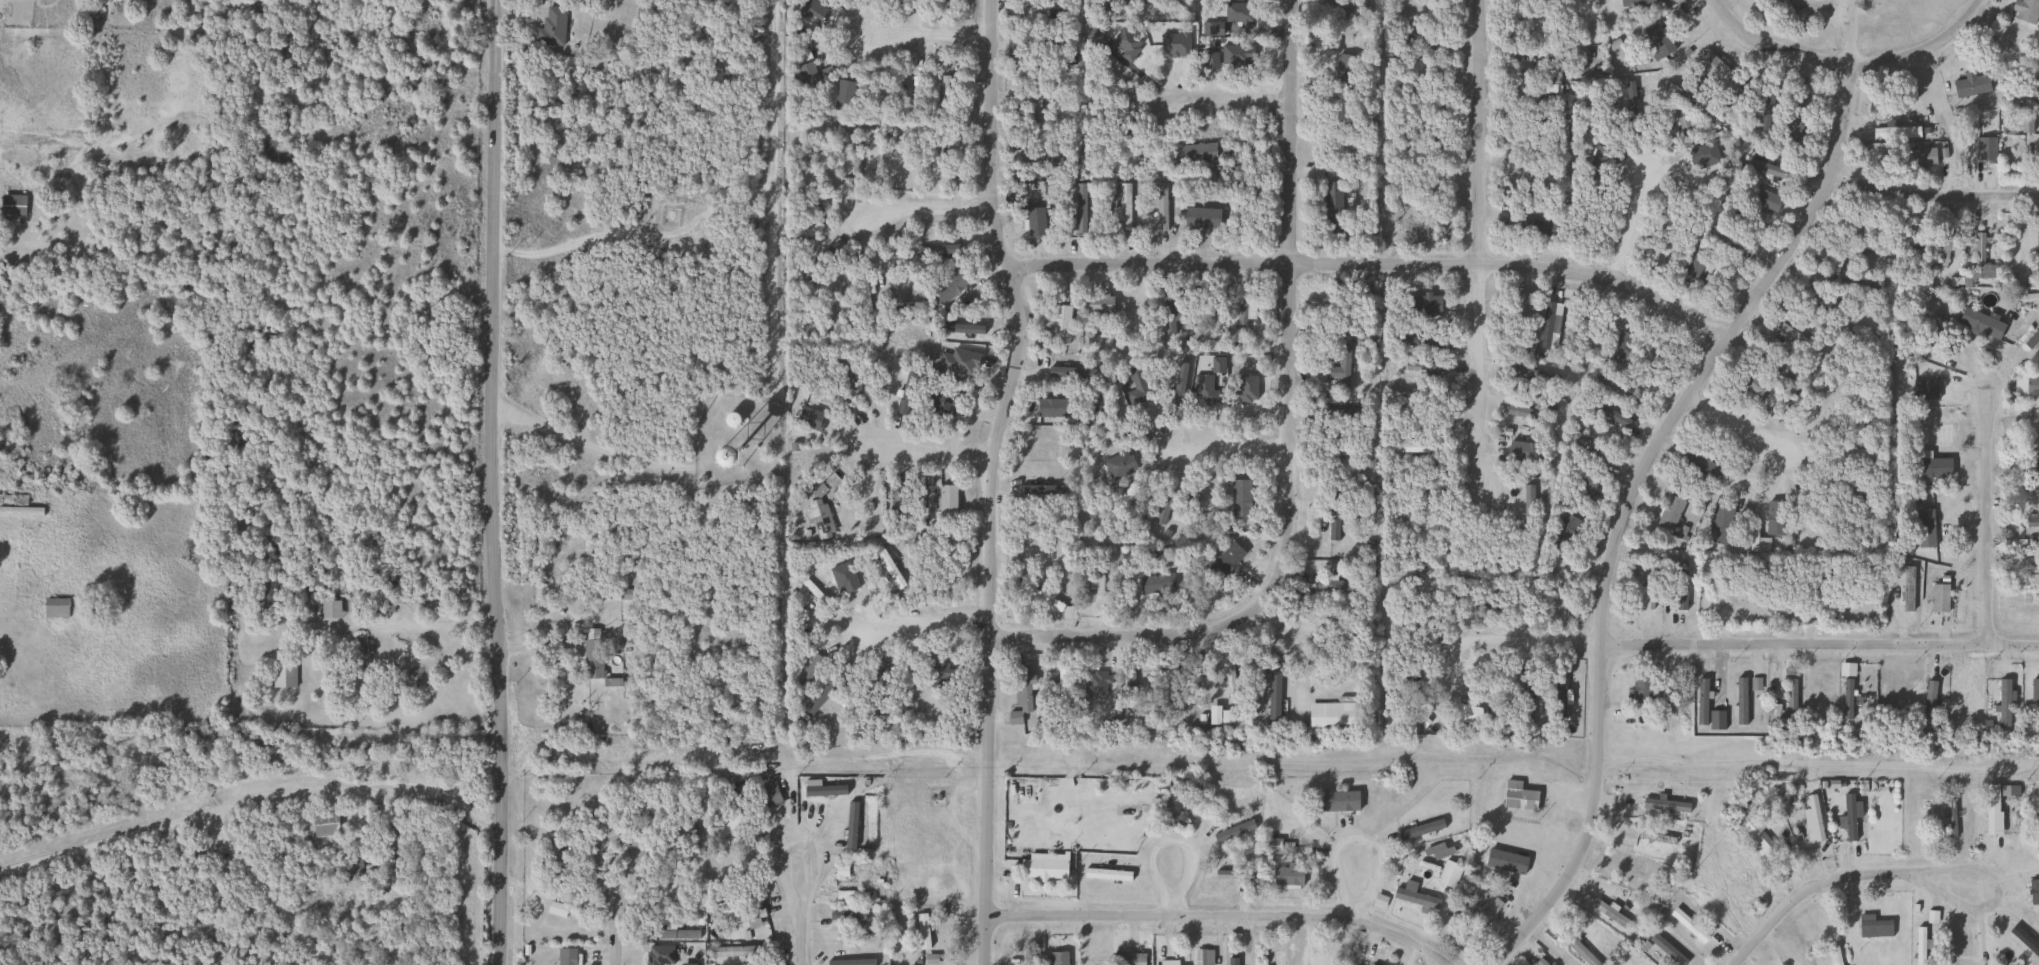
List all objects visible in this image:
building: (918, 1)
building: (2025, 10)
building: (550, 26)
road: (926, 33)
building: (1043, 44)
road: (1768, 50)
road: (1927, 54)
building: (1534, 56)
building: (2008, 62)
building: (1345, 69)
building: (1716, 71)
building: (806, 76)
building: (1111, 76)
building: (1970, 84)
building: (944, 94)
road: (1225, 97)
building: (1739, 97)
building: (1035, 100)
building: (1539, 104)
building: (1634, 104)
building: (1679, 113)
building: (1792, 122)
building: (2017, 145)
building: (1197, 152)
building: (856, 153)
building: (1922, 157)
building: (933, 159)
building: (1034, 162)
building: (1768, 169)
road: (1929, 192)
building: (12, 206)
building: (1160, 207)
building: (1331, 207)
building: (1079, 208)
road: (925, 210)
building: (1123, 212)
road: (1630, 215)
building: (1034, 221)
building: (1417, 224)
building: (1536, 229)
building: (1943, 241)
building: (921, 249)
road: (1373, 254)
road: (1478, 255)
building: (1827, 262)
building: (1978, 267)
building: (947, 287)
building: (861, 295)
building: (1819, 302)
building: (1097, 304)
building: (1523, 307)
building: (1429, 309)
building: (1241, 315)
building: (1059, 318)
building: (1931, 335)
building: (1620, 347)
building: (957, 365)
building: (1776, 366)
building: (1341, 370)
building: (1070, 372)
building: (1534, 376)
building: (1136, 385)
building: (1754, 385)
building: (2025, 389)
building: (1115, 401)
building: (941, 405)
road: (1722, 414)
road: (1231, 438)
road: (1799, 439)
road: (1287, 440)
road: (583, 443)
building: (1416, 447)
building: (1587, 448)
building: (1857, 454)
road: (931, 455)
building: (722, 456)
building: (1697, 465)
road: (1635, 471)
road: (991, 478)
road: (489, 482)
building: (2029, 485)
building: (1582, 490)
building: (893, 496)
building: (945, 503)
building: (1119, 504)
building: (1162, 506)
building: (17, 507)
building: (1527, 508)
building: (1669, 513)
road: (1990, 514)
building: (1336, 516)
building: (818, 517)
building: (1924, 528)
building: (1561, 533)
building: (1225, 560)
building: (2030, 569)
building: (1097, 580)
building: (1824, 582)
building: (1337, 586)
building: (1646, 589)
building: (1907, 589)
building: (1731, 598)
building: (1938, 598)
building: (1046, 601)
building: (384, 604)
building: (55, 607)
building: (2029, 608)
building: (329, 609)
road: (1286, 622)
road: (920, 626)
road: (1738, 642)
building: (591, 654)
building: (359, 656)
building: (283, 675)
building: (805, 676)
building: (1229, 680)
building: (1171, 686)
building: (1062, 688)
building: (1641, 690)
building: (1127, 692)
building: (822, 695)
building: (1020, 695)
building: (1790, 698)
building: (1915, 699)
building: (2003, 703)
building: (1467, 714)
road: (1821, 763)
building: (766, 796)
building: (1518, 797)
road: (245, 800)
building: (1196, 801)
building: (208, 802)
building: (1338, 802)
building: (1665, 806)
building: (1991, 810)
building: (1848, 817)
building: (1814, 818)
building: (1950, 818)
building: (324, 824)
building: (727, 830)
building: (684, 837)
building: (1757, 841)
building: (396, 844)
road: (789, 845)
road: (599, 860)
building: (552, 862)
road: (1967, 869)
building: (1042, 870)
building: (1108, 871)
building: (1448, 874)
building: (1225, 875)
building: (1287, 876)
building: (669, 880)
road: (1174, 885)
road: (1355, 888)
road: (1806, 888)
road: (266, 890)
building: (2034, 892)
building: (848, 894)
building: (1413, 896)
road: (1951, 897)
building: (555, 909)
building: (1610, 915)
building: (847, 916)
building: (742, 917)
road: (1223, 917)
building: (1483, 919)
building: (1874, 926)
building: (1687, 928)
road: (617, 931)
building: (922, 931)
road: (800, 932)
building: (1919, 946)
building: (1576, 948)
building: (1665, 950)
building: (730, 952)
building: (1834, 955)
building: (565, 957)
building: (1202, 957)
building: (1026, 958)
building: (1092, 958)
building: (1058, 959)
building: (1319, 960)
building: (1539, 962)

